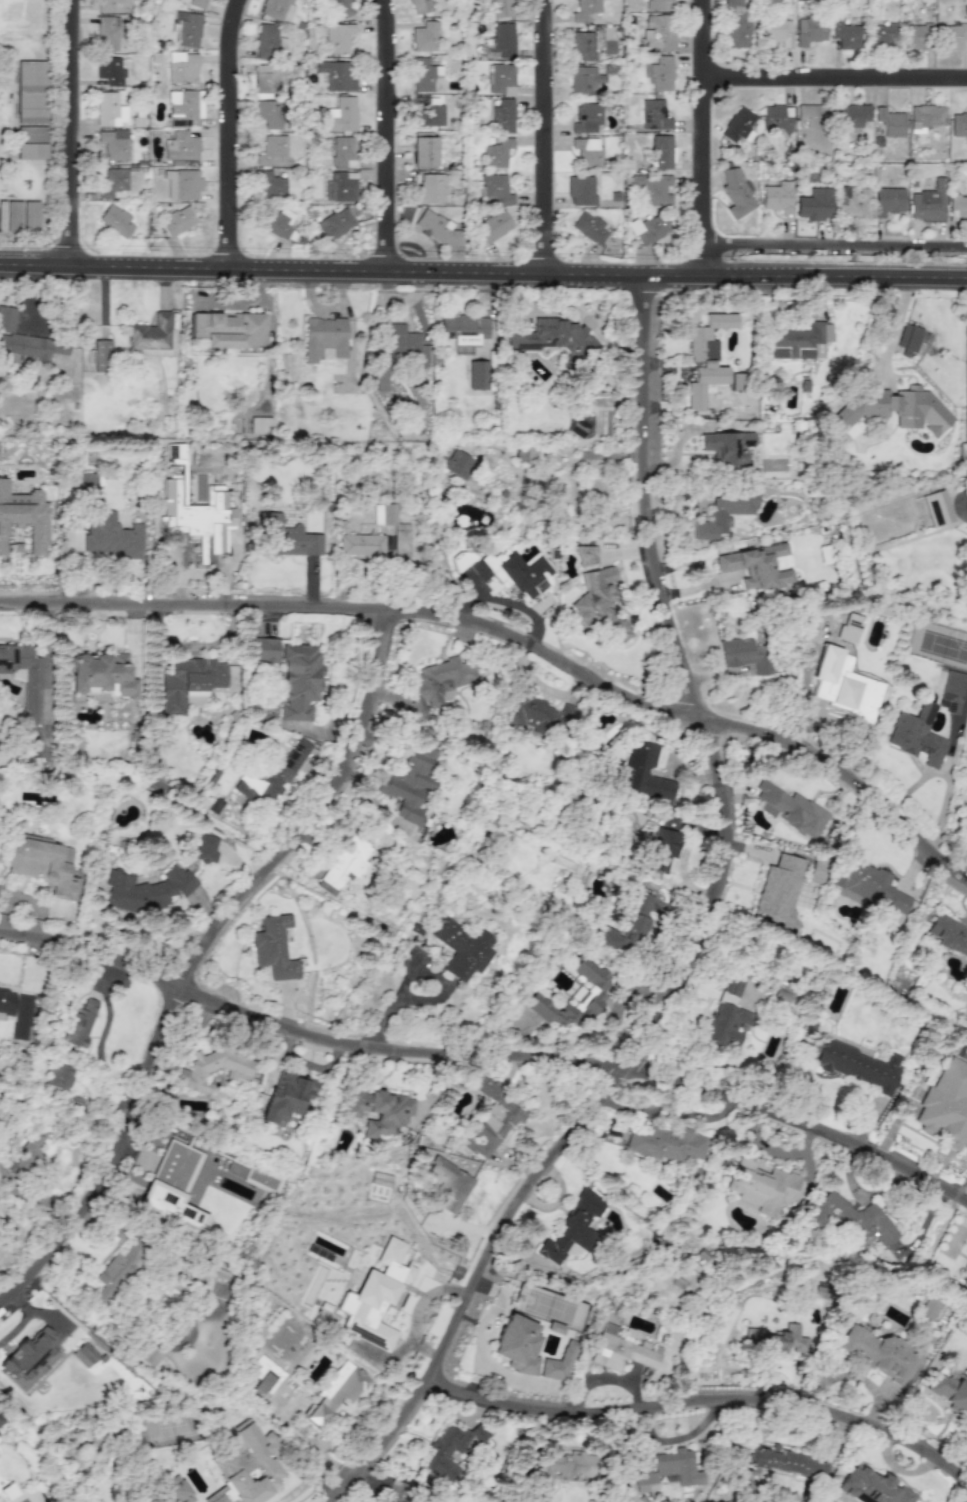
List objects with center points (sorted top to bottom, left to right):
building: (197, 3)
building: (653, 4)
building: (105, 5)
building: (420, 6)
building: (340, 8)
building: (501, 8)
building: (276, 9)
building: (584, 9)
building: (736, 25)
building: (188, 29)
building: (809, 30)
building: (659, 32)
building: (106, 33)
building: (779, 33)
building: (845, 33)
building: (880, 35)
building: (951, 35)
building: (424, 36)
building: (917, 36)
building: (337, 37)
building: (503, 38)
building: (267, 41)
building: (608, 43)
building: (582, 44)
building: (181, 67)
building: (109, 70)
building: (661, 73)
building: (335, 75)
building: (421, 75)
road: (836, 75)
building: (266, 78)
building: (501, 79)
building: (584, 80)
building: (184, 107)
building: (109, 110)
building: (427, 111)
building: (267, 113)
building: (652, 114)
building: (852, 114)
building: (340, 115)
building: (809, 115)
building: (503, 116)
building: (585, 116)
building: (925, 116)
building: (776, 117)
park: (27, 121)
building: (889, 121)
building: (738, 124)
building: (959, 124)
building: (31, 133)
road: (72, 133)
road: (230, 133)
road: (389, 135)
road: (546, 136)
road: (707, 137)
building: (114, 144)
building: (180, 146)
building: (31, 150)
building: (423, 150)
building: (271, 151)
building: (343, 151)
building: (587, 151)
building: (660, 151)
building: (496, 153)
building: (113, 183)
building: (182, 184)
building: (271, 184)
building: (341, 186)
building: (432, 188)
building: (651, 188)
building: (494, 189)
building: (580, 190)
building: (735, 193)
building: (777, 197)
building: (887, 200)
building: (852, 201)
building: (928, 203)
building: (813, 204)
building: (957, 207)
building: (11, 215)
building: (30, 216)
building: (178, 220)
building: (116, 221)
building: (275, 222)
building: (335, 223)
building: (493, 225)
building: (588, 227)
building: (648, 228)
building: (438, 229)
road: (837, 246)
road: (483, 272)
road: (585, 317)
building: (229, 329)
building: (463, 331)
building: (153, 336)
building: (908, 338)
building: (554, 339)
building: (26, 340)
building: (800, 341)
building: (402, 343)
building: (99, 355)
building: (705, 357)
building: (476, 374)
building: (380, 376)
building: (893, 408)
building: (728, 448)
building: (174, 450)
building: (522, 453)
building: (457, 464)
building: (87, 481)
building: (936, 507)
building: (724, 512)
building: (197, 515)
building: (24, 516)
building: (111, 537)
building: (288, 537)
building: (401, 541)
building: (360, 544)
building: (584, 552)
building: (755, 566)
building: (526, 575)
building: (597, 602)
road: (544, 614)
road: (515, 637)
building: (264, 649)
building: (744, 654)
building: (101, 673)
building: (24, 676)
building: (299, 681)
building: (189, 683)
building: (435, 687)
building: (952, 691)
building: (851, 706)
building: (540, 713)
building: (917, 734)
building: (642, 771)
building: (272, 776)
building: (409, 782)
building: (156, 786)
building: (790, 808)
building: (669, 822)
building: (206, 848)
building: (659, 850)
building: (346, 860)
building: (42, 863)
building: (868, 886)
building: (146, 890)
building: (778, 890)
building: (626, 927)
building: (949, 934)
road: (700, 938)
building: (273, 947)
building: (461, 947)
road: (201, 960)
building: (781, 994)
building: (573, 996)
building: (6, 1000)
building: (21, 1016)
building: (726, 1016)
building: (78, 1022)
road: (100, 1039)
road: (486, 1057)
building: (857, 1064)
building: (212, 1068)
building: (59, 1076)
building: (285, 1096)
building: (945, 1105)
building: (380, 1111)
road: (672, 1112)
building: (493, 1119)
building: (666, 1143)
building: (25, 1152)
building: (448, 1183)
building: (761, 1186)
building: (172, 1187)
building: (850, 1218)
building: (572, 1227)
building: (116, 1271)
building: (374, 1297)
building: (928, 1309)
building: (775, 1339)
building: (516, 1344)
building: (619, 1349)
building: (85, 1353)
building: (880, 1353)
building: (148, 1354)
building: (29, 1358)
building: (558, 1363)
road: (605, 1376)
building: (273, 1377)
building: (337, 1391)
building: (948, 1391)
road: (703, 1400)
building: (0, 1421)
building: (449, 1449)
building: (786, 1461)
building: (246, 1465)
building: (563, 1467)
building: (668, 1469)
building: (871, 1487)
building: (178, 1490)

